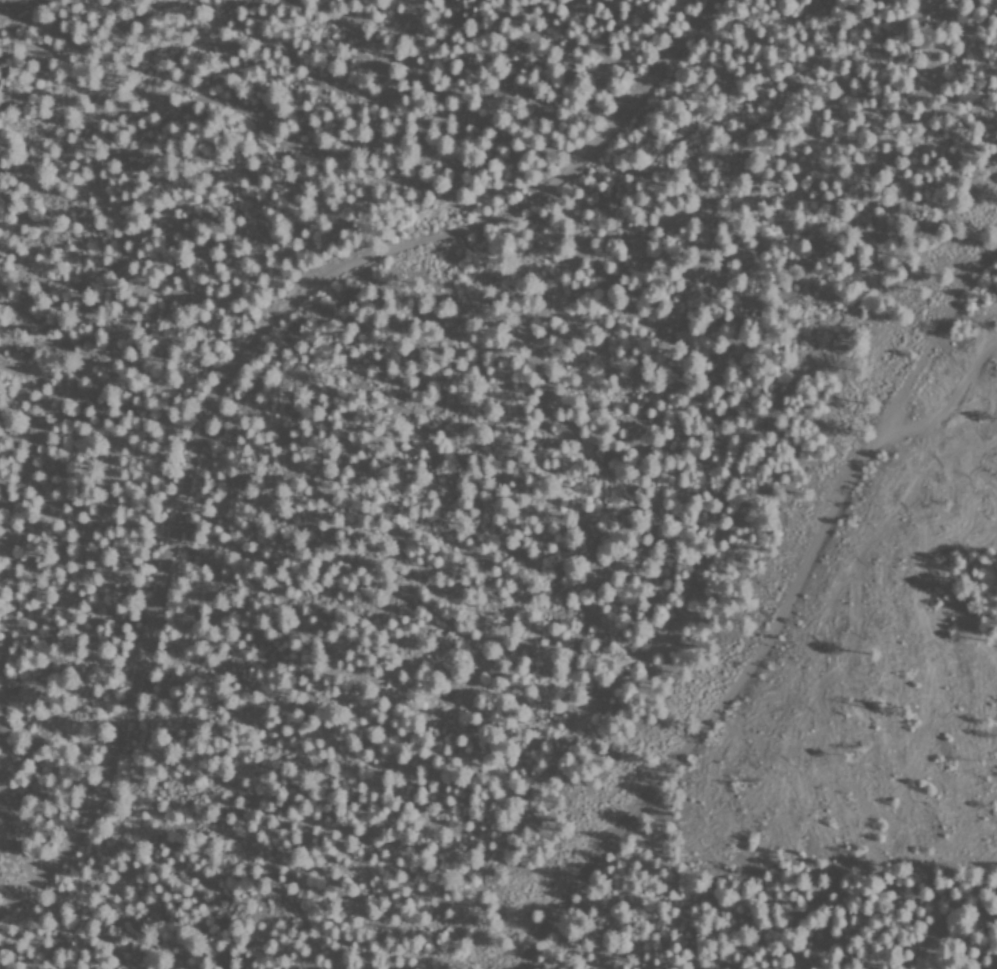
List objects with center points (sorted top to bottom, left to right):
road: (966, 38)
road: (962, 356)
road: (238, 363)
road: (765, 615)

